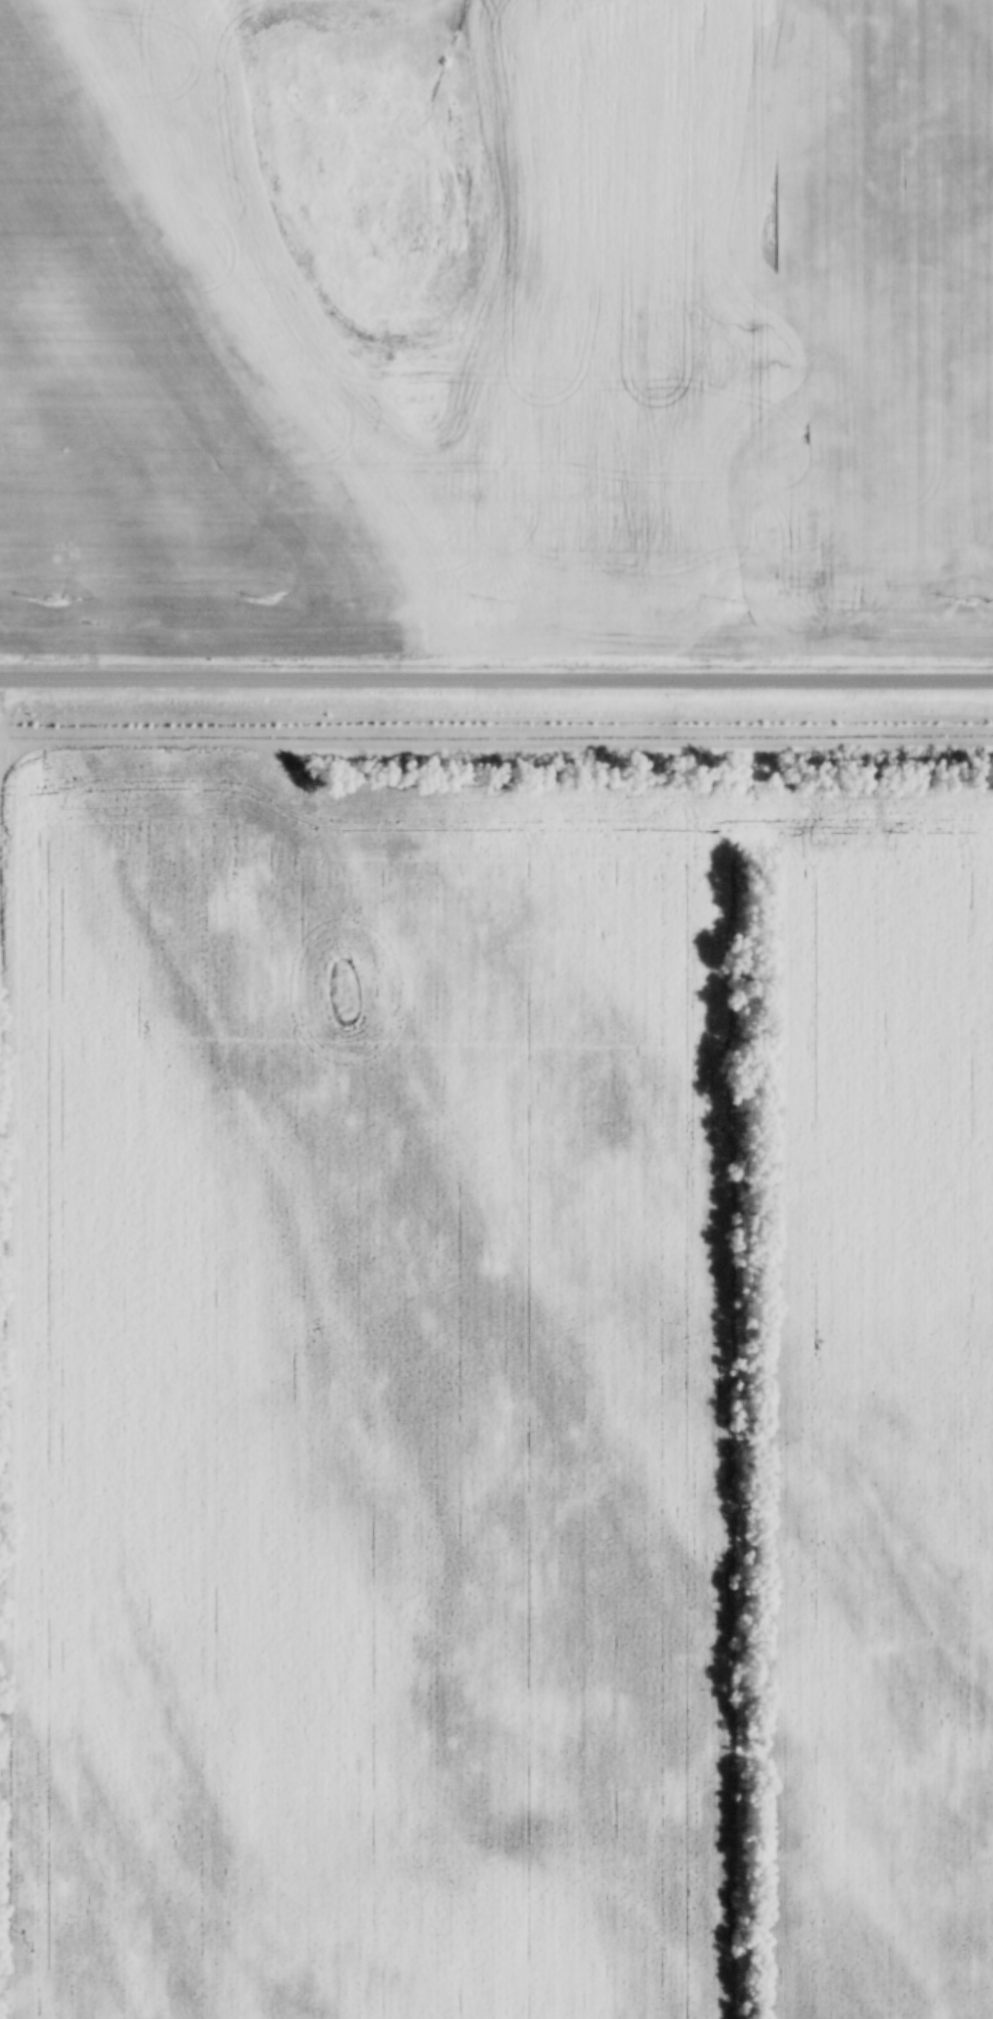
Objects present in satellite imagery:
road: (496, 681)

